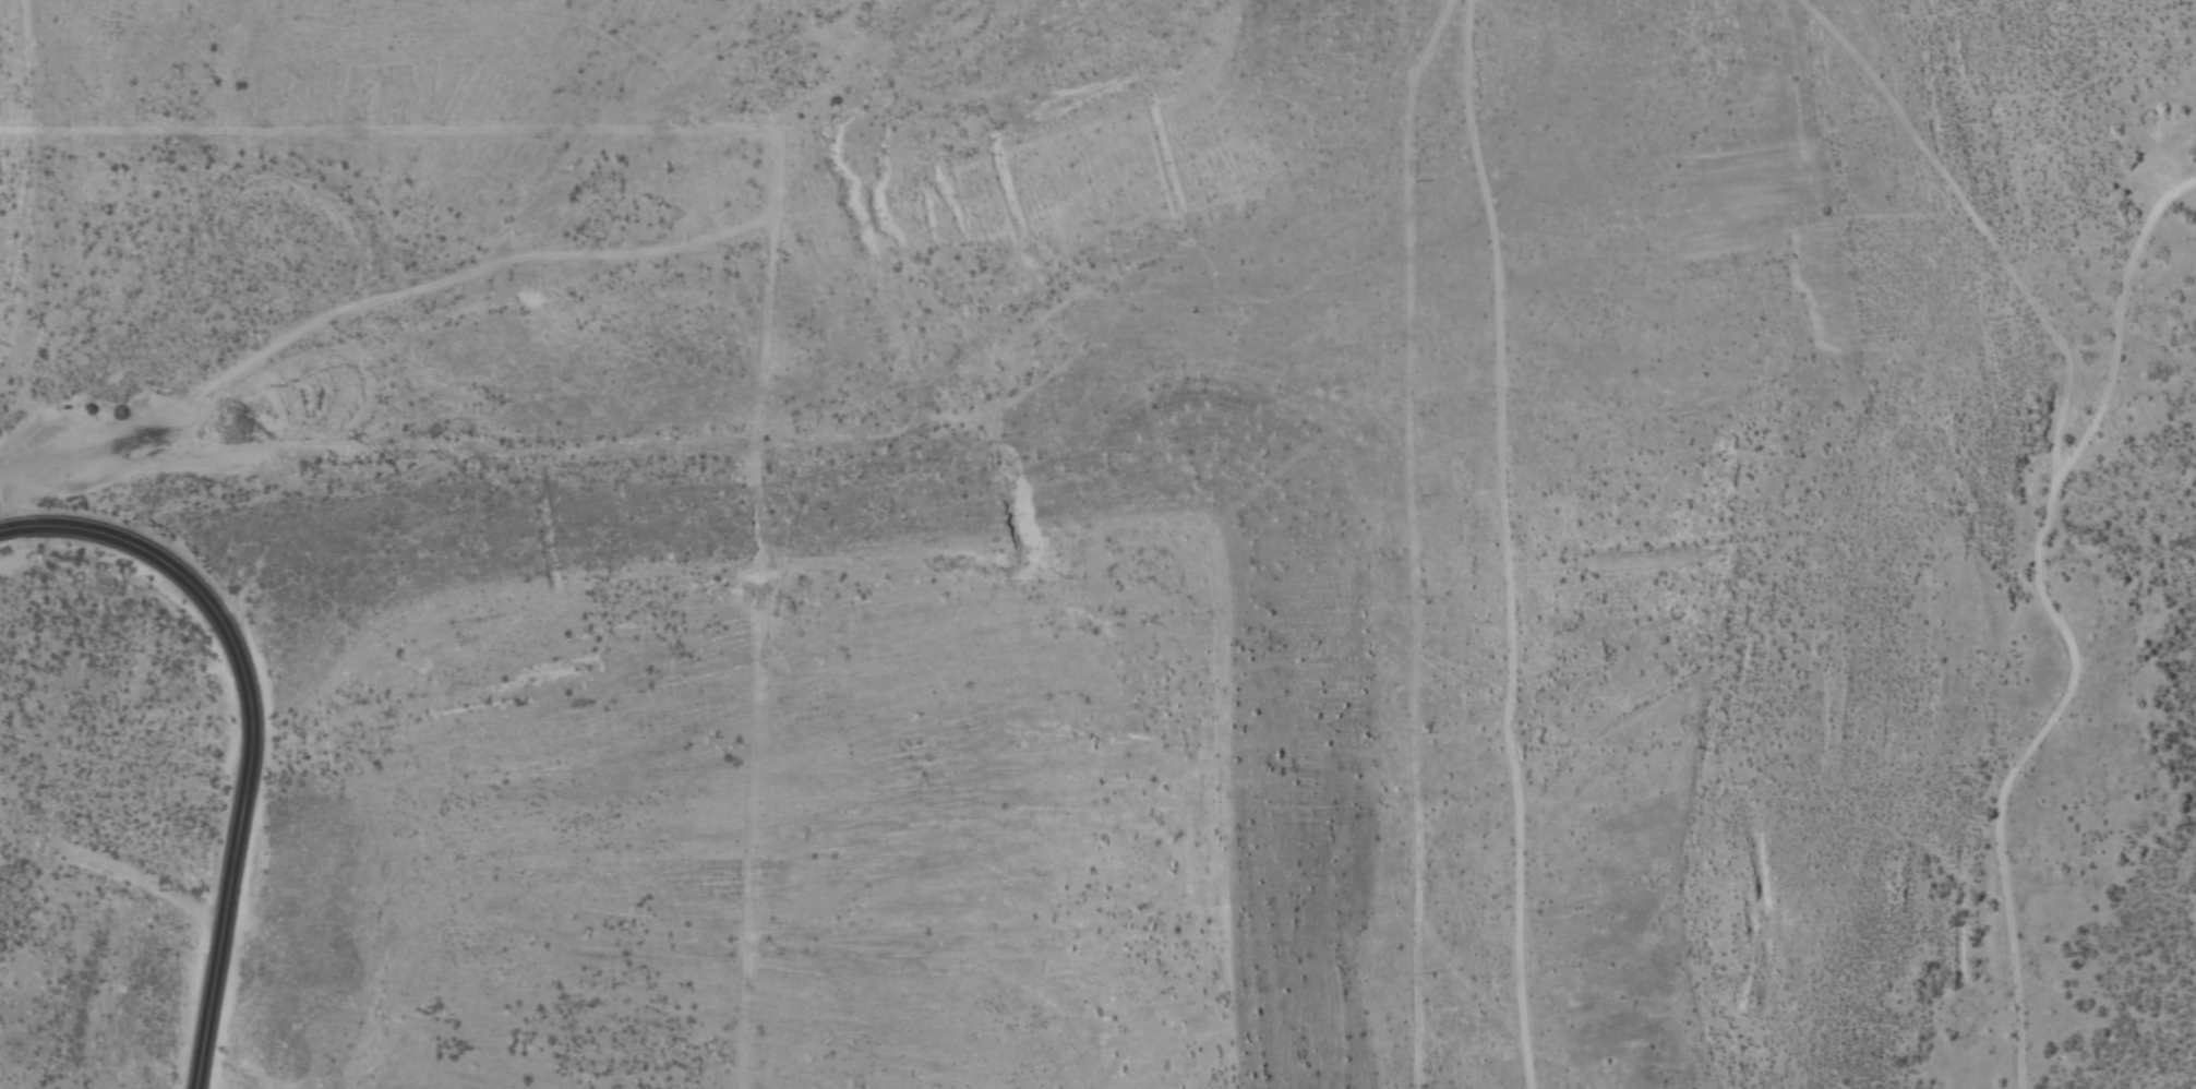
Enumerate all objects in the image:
road: (1204, 2)
road: (1487, 20)
road: (1543, 536)
road: (250, 727)

